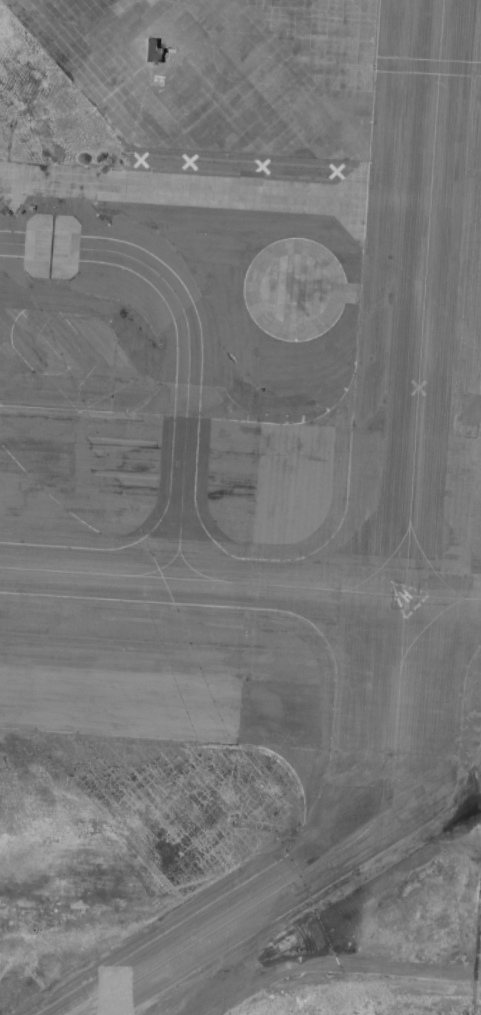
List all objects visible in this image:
road: (338, 965)

